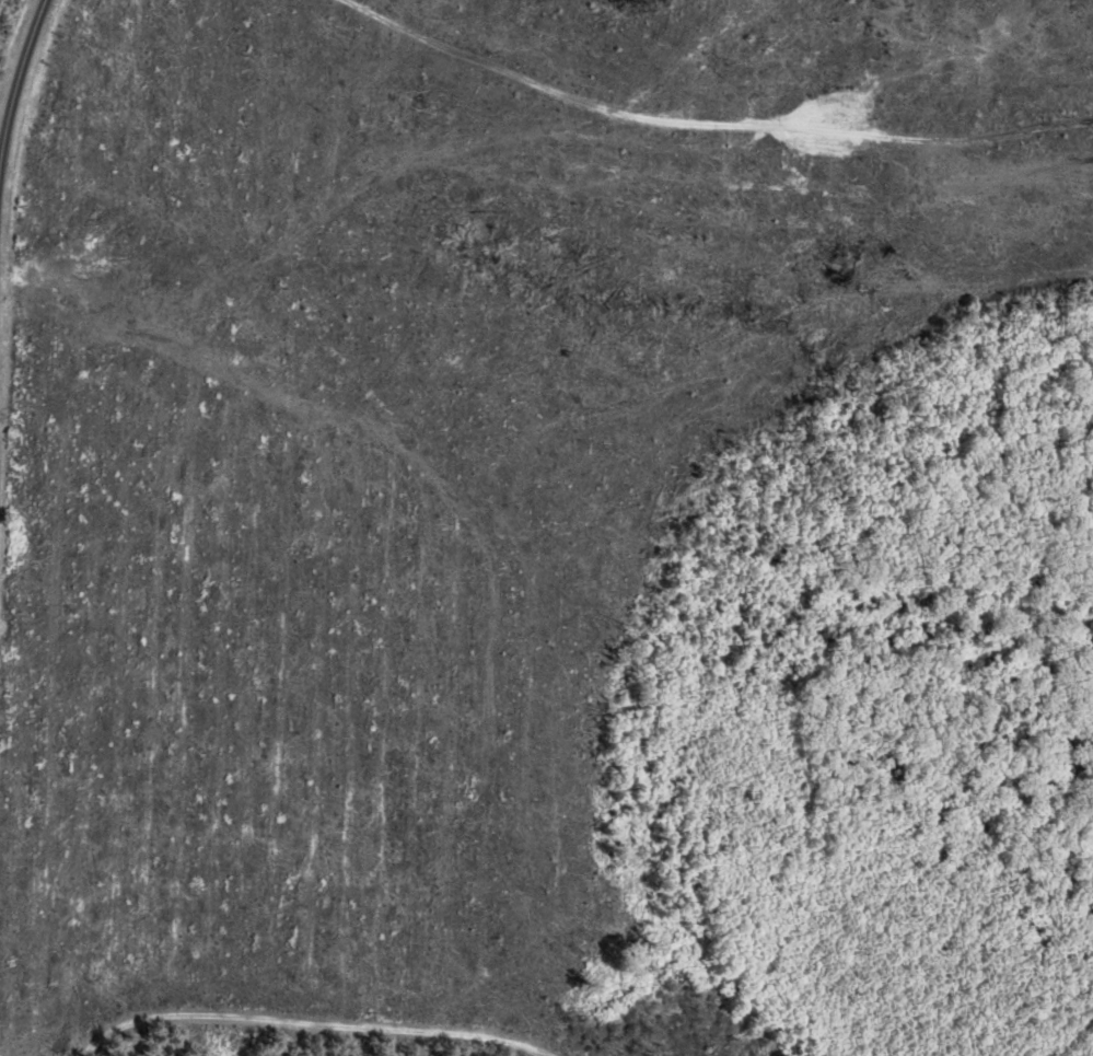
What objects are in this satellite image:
road: (18, 84)

